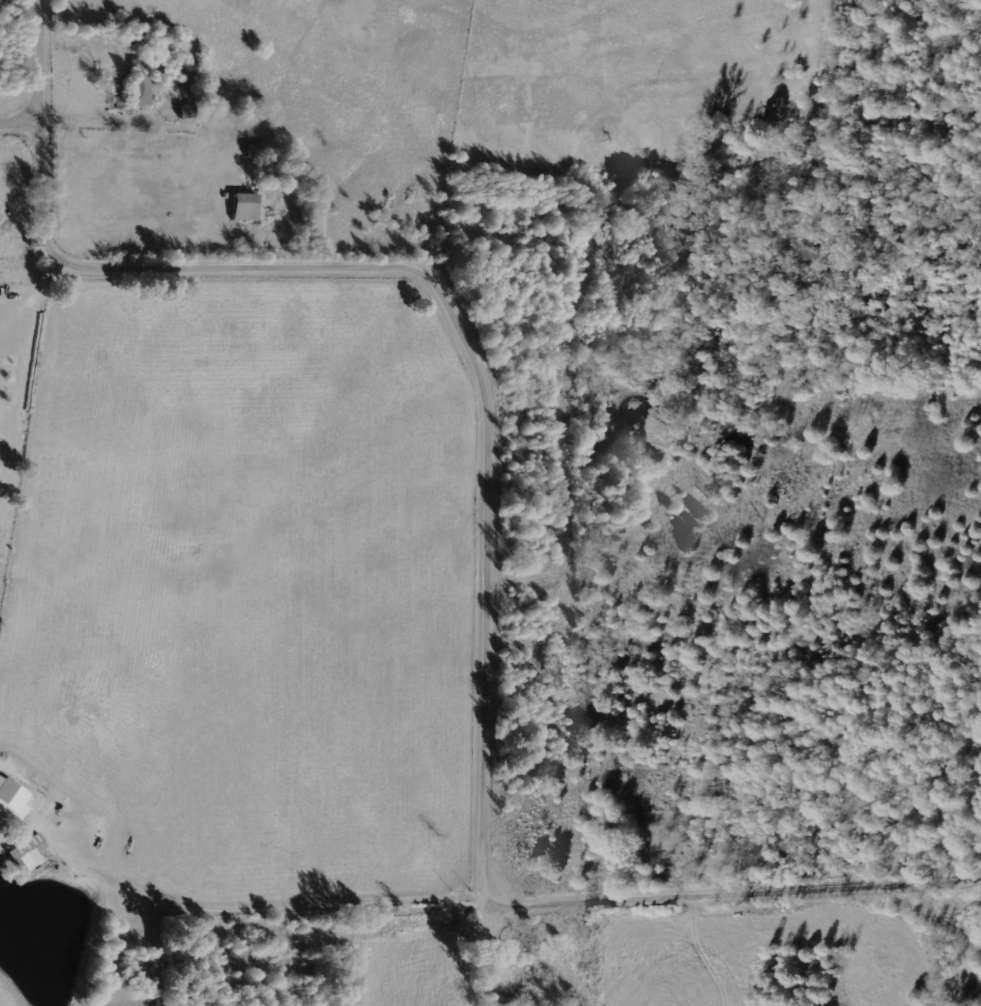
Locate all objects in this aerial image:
road: (46, 77)
building: (139, 88)
building: (241, 206)
road: (460, 330)
road: (726, 780)
building: (26, 856)
road: (746, 897)
road: (494, 946)

